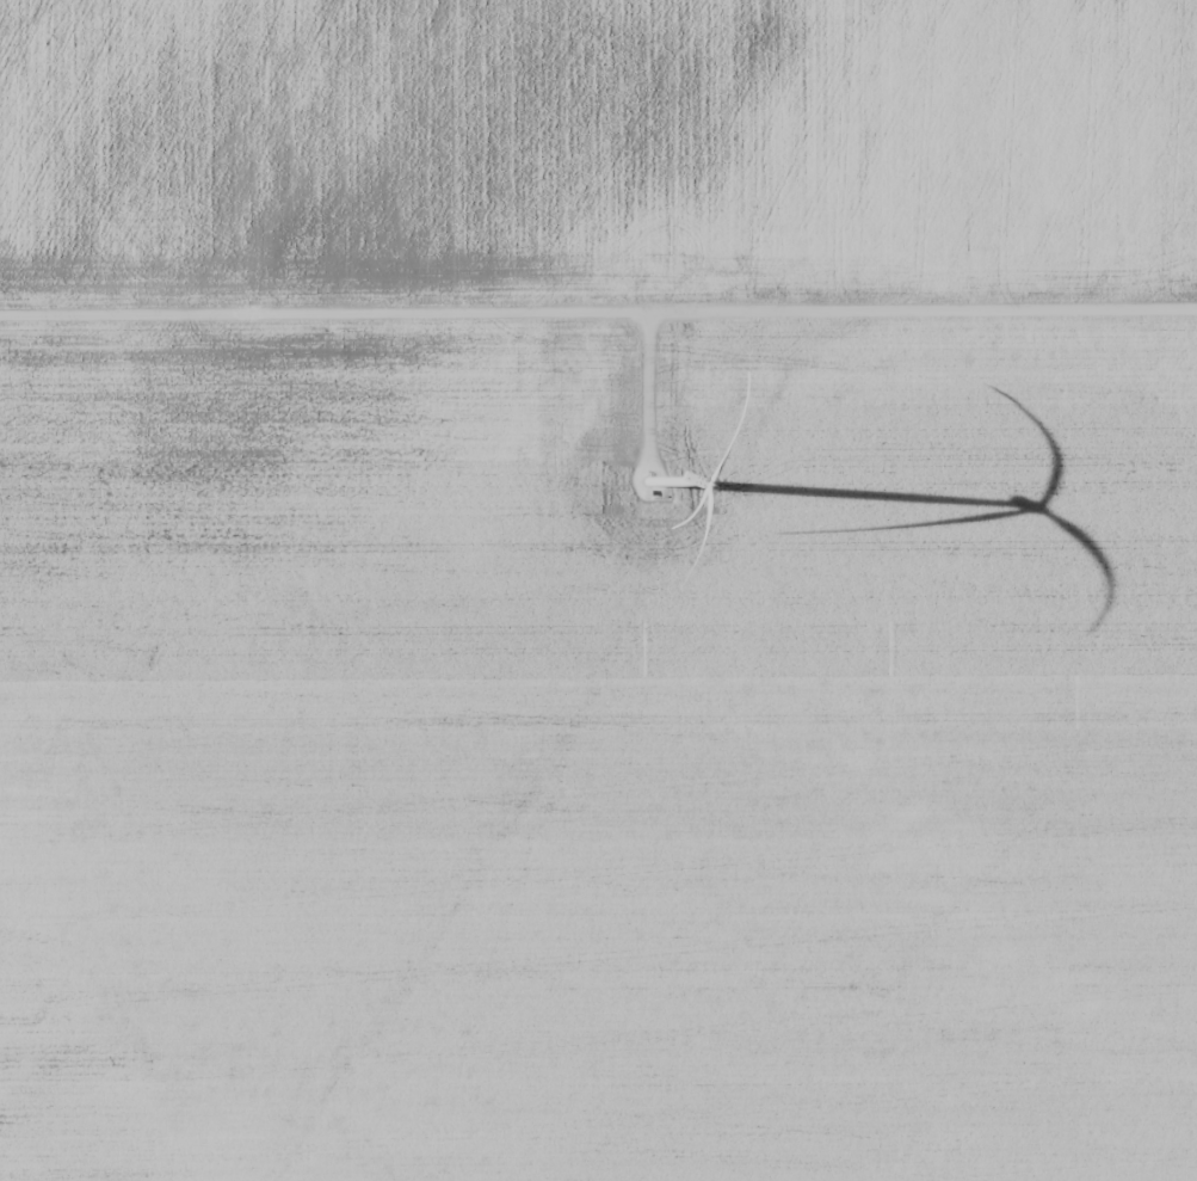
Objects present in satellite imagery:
wind turbine: (652, 479)

